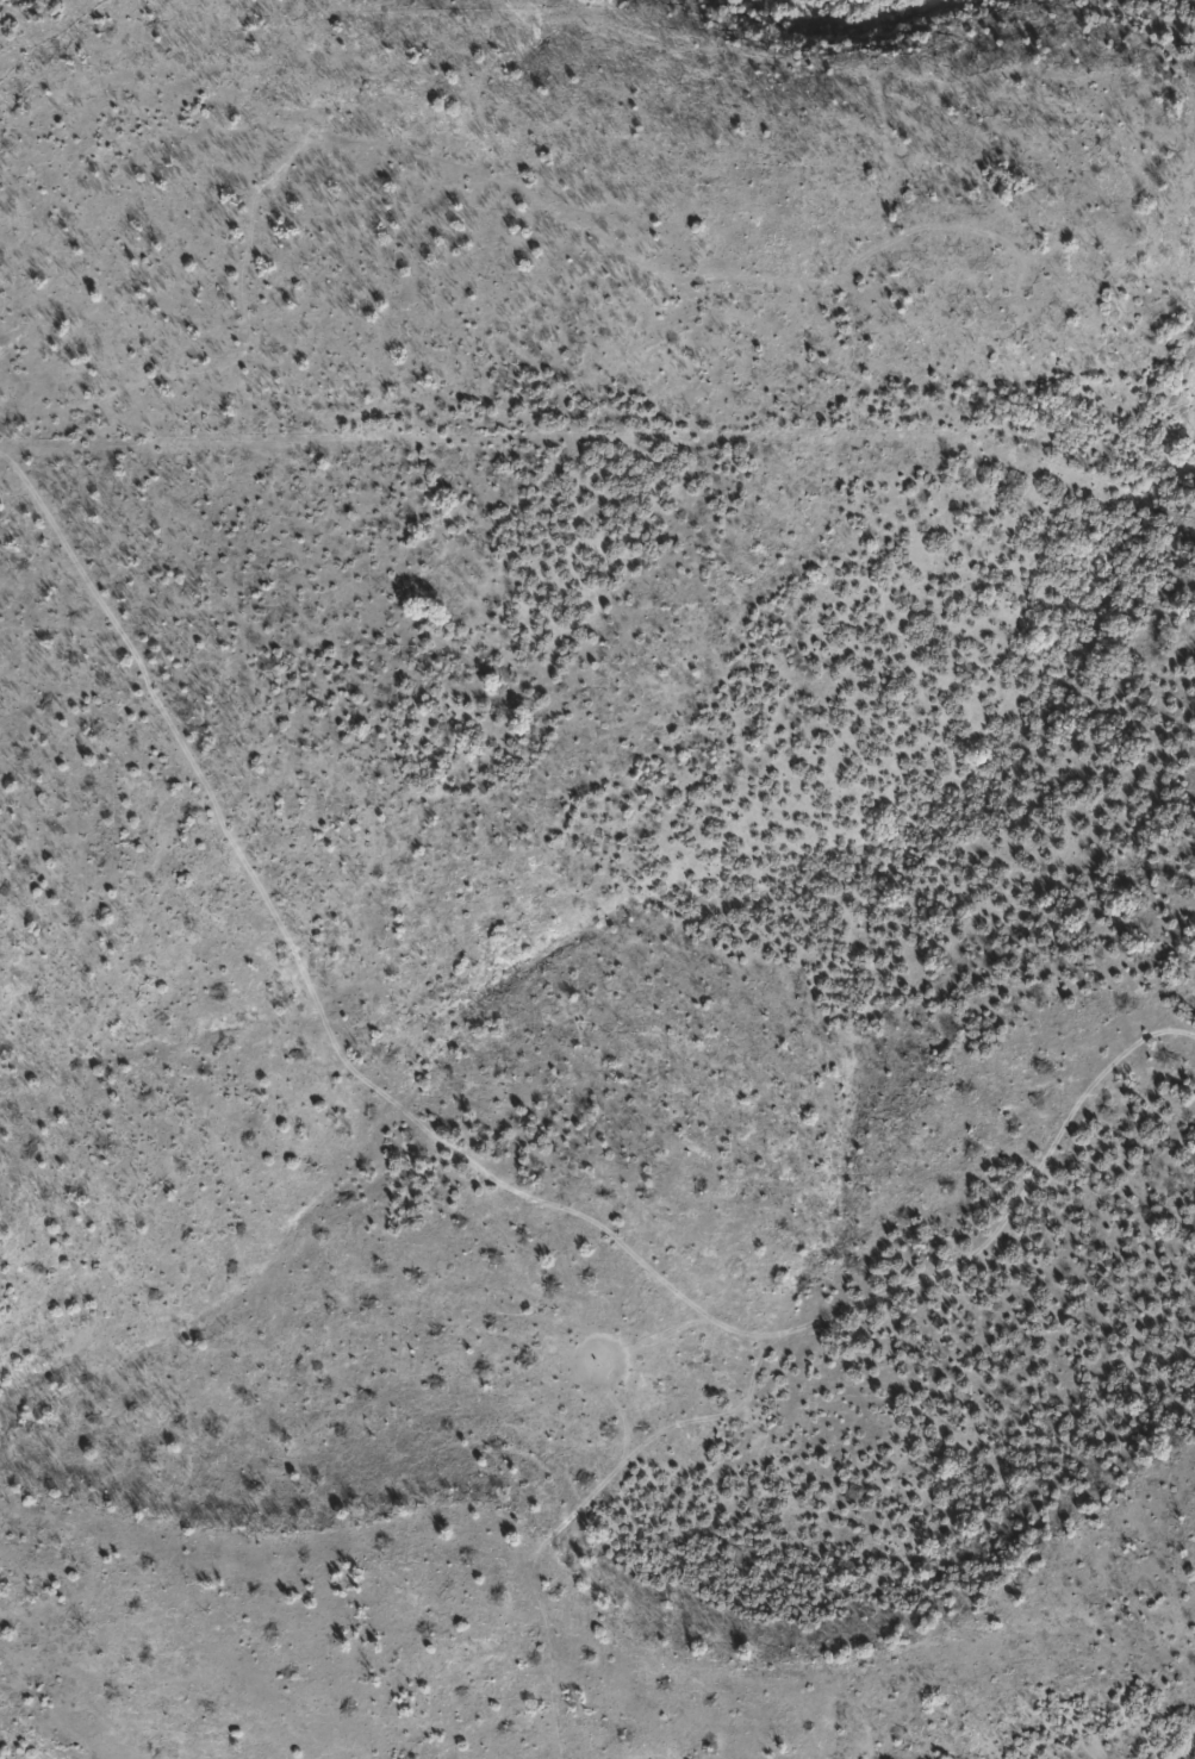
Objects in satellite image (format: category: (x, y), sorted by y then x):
road: (506, 1186)

